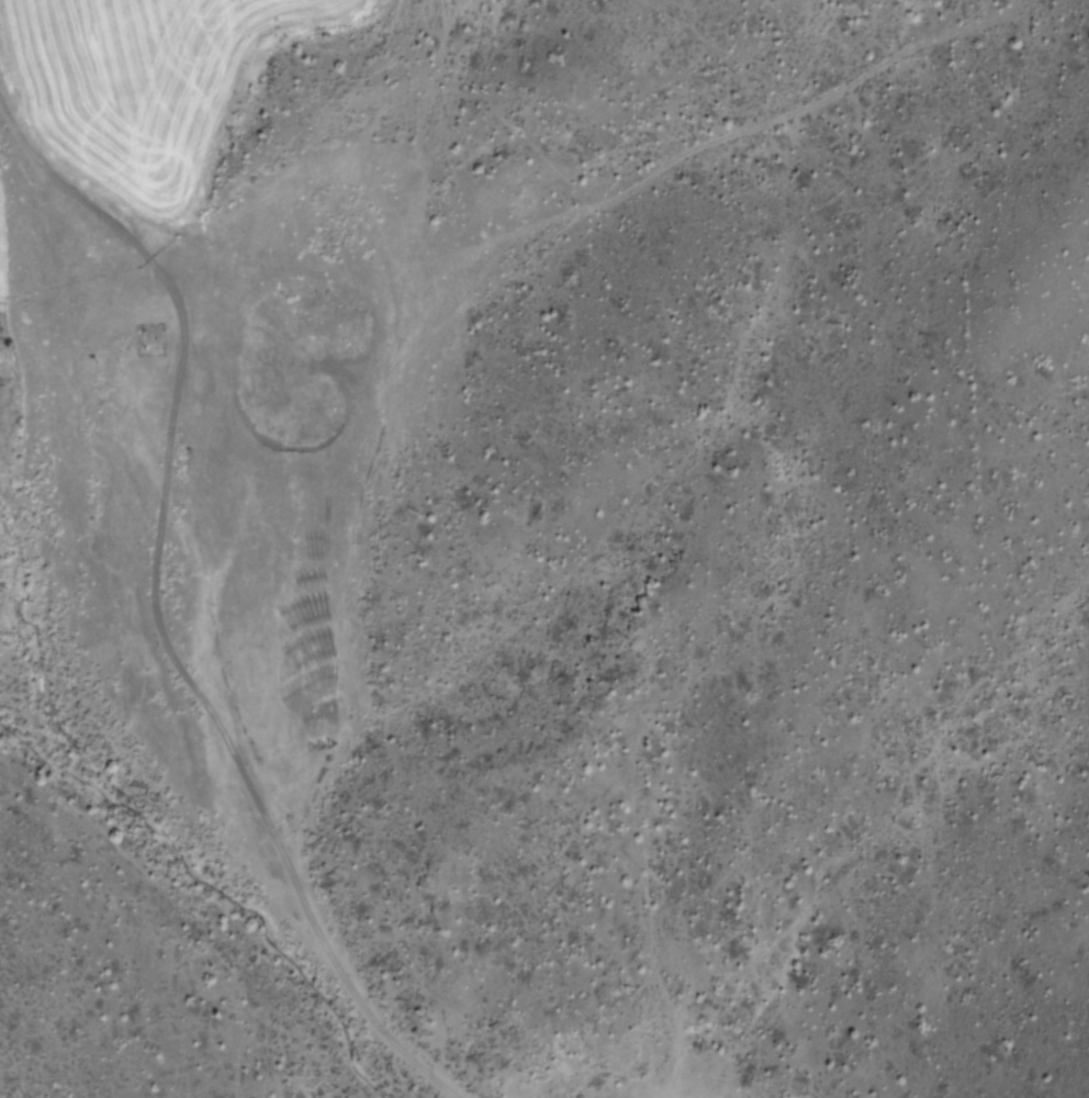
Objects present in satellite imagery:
crop: (153, 83)
road: (200, 658)

